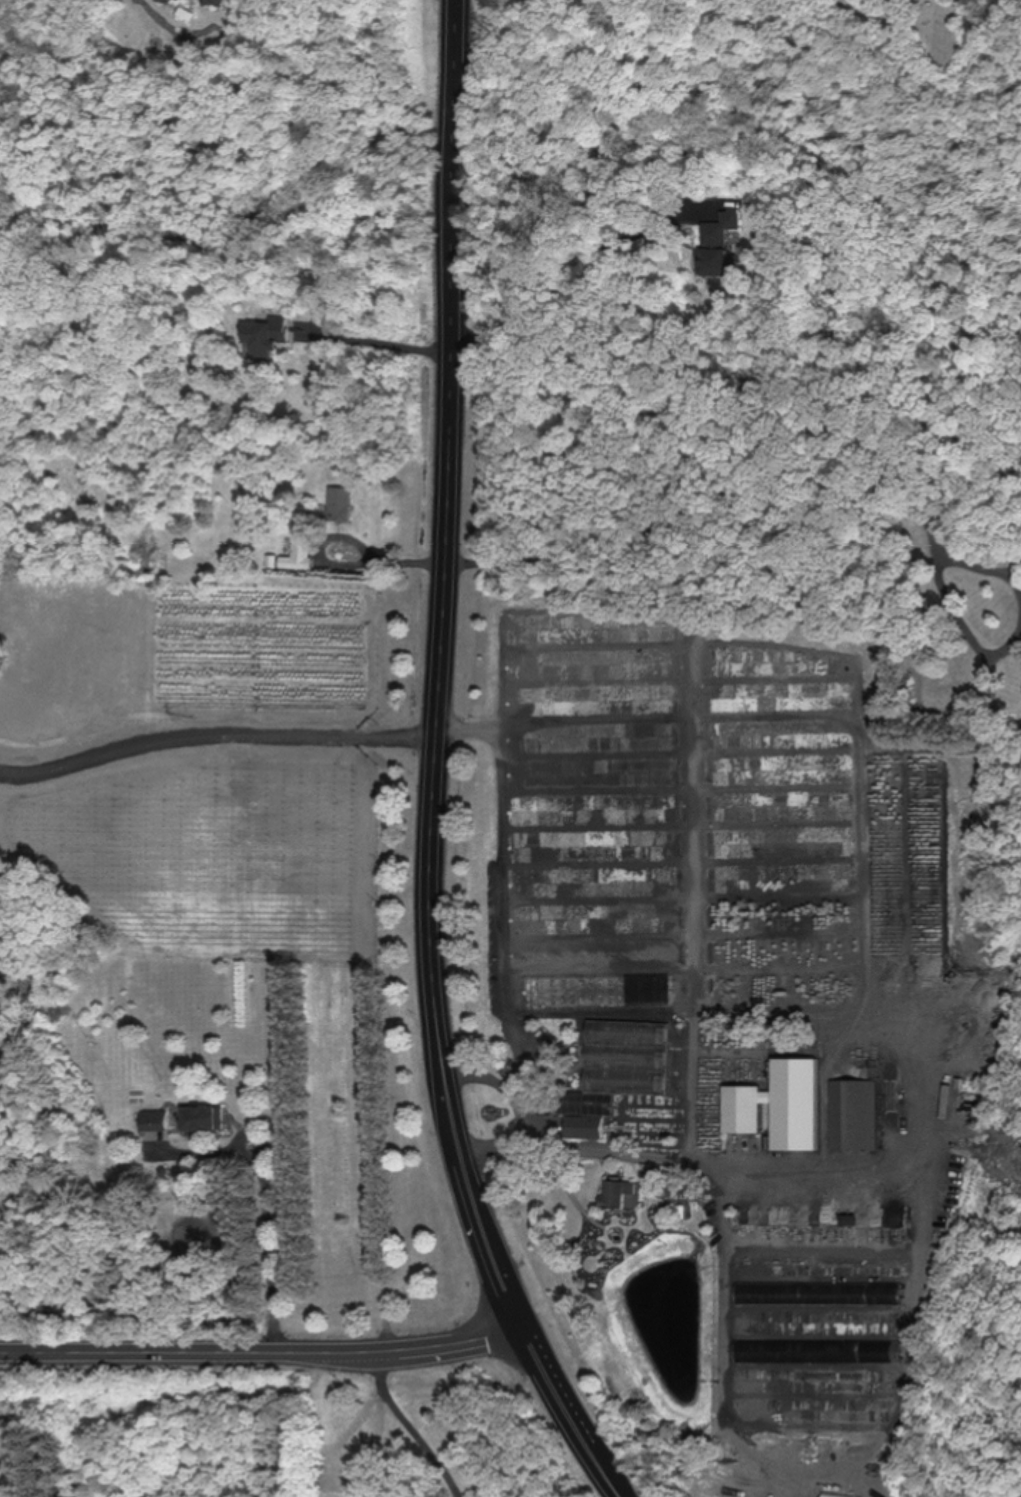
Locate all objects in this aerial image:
building: (727, 243)
building: (269, 338)
road: (377, 338)
building: (342, 503)
building: (297, 556)
road: (707, 568)
road: (968, 606)
road: (438, 769)
building: (981, 1101)
building: (744, 1108)
building: (794, 1109)
building: (855, 1114)
road: (533, 1116)
building: (206, 1118)
building: (155, 1119)
building: (586, 1126)
building: (622, 1194)
road: (270, 1241)
road: (262, 1348)
road: (378, 1416)
road: (406, 1426)

